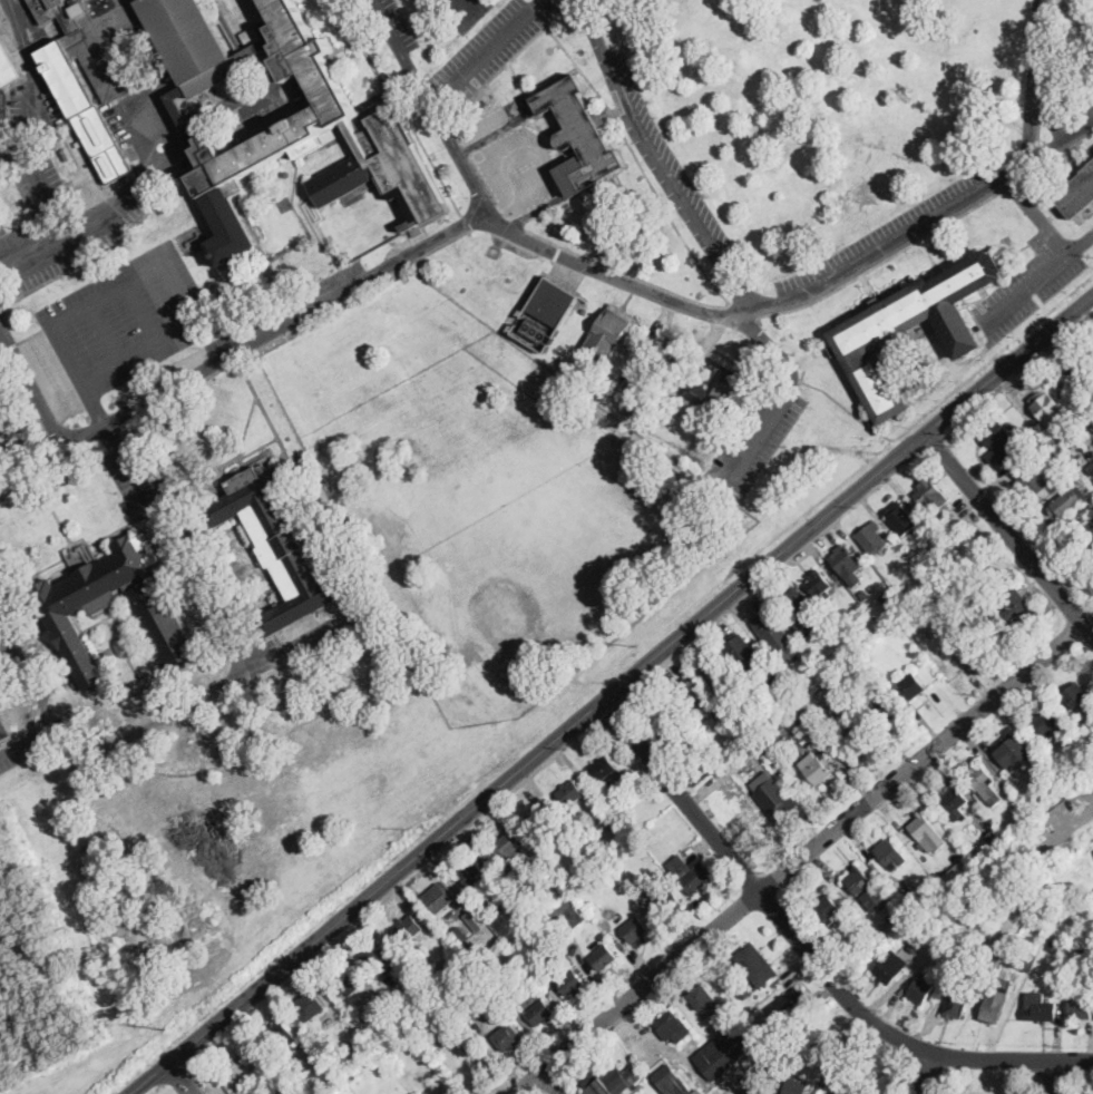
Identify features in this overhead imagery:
road: (569, 1)
road: (449, 9)
parking lot: (458, 11)
parking lot: (393, 25)
parking lot: (491, 46)
road: (485, 51)
road: (506, 64)
building: (6, 67)
building: (91, 70)
road: (35, 84)
road: (1034, 89)
road: (236, 104)
parking lot: (33, 106)
road: (175, 119)
parking lot: (490, 119)
building: (283, 120)
parking lot: (1073, 124)
road: (494, 131)
building: (578, 136)
road: (180, 137)
parking lot: (662, 155)
road: (658, 158)
road: (640, 163)
parking lot: (515, 169)
parking lot: (39, 186)
road: (42, 186)
building: (1076, 194)
road: (111, 203)
road: (531, 212)
road: (1035, 214)
building: (194, 241)
parking lot: (880, 241)
road: (1079, 241)
road: (878, 263)
road: (627, 272)
parking lot: (1027, 283)
road: (176, 284)
road: (1022, 289)
building: (554, 302)
road: (683, 305)
parking lot: (284, 307)
road: (144, 309)
parking lot: (125, 319)
building: (905, 328)
building: (536, 330)
road: (105, 331)
building: (609, 331)
road: (242, 346)
road: (770, 348)
building: (1082, 373)
road: (80, 374)
road: (662, 384)
road: (31, 388)
building: (715, 391)
park: (470, 393)
park: (371, 397)
park: (432, 406)
building: (1047, 409)
building: (1085, 416)
building: (1029, 433)
road: (115, 434)
road: (753, 434)
parking lot: (755, 436)
building: (999, 438)
power tower: (869, 450)
building: (1047, 452)
building: (1084, 459)
building: (1090, 466)
building: (1032, 481)
park: (488, 494)
building: (931, 497)
parking lot: (153, 500)
building: (1068, 501)
building: (900, 518)
building: (1091, 526)
road: (1009, 533)
building: (979, 535)
building: (872, 538)
park: (521, 544)
building: (280, 546)
building: (949, 557)
building: (845, 561)
building: (820, 586)
building: (863, 594)
parking lot: (3, 595)
road: (207, 595)
building: (894, 604)
building: (1016, 606)
building: (351, 608)
building: (927, 609)
building: (800, 611)
building: (157, 612)
building: (773, 632)
parking lot: (299, 644)
power tower: (638, 644)
building: (121, 647)
building: (848, 649)
building: (972, 652)
building: (743, 655)
building: (835, 661)
building: (851, 673)
building: (719, 675)
building: (911, 685)
road: (608, 693)
building: (690, 693)
building: (1075, 695)
building: (878, 702)
building: (660, 713)
building: (720, 716)
building: (886, 716)
building: (1046, 722)
building: (811, 723)
building: (742, 725)
building: (3, 729)
road: (25, 740)
building: (1, 743)
road: (104, 746)
building: (1011, 751)
parking lot: (16, 752)
building: (742, 761)
building: (709, 762)
building: (603, 768)
building: (818, 769)
building: (1067, 771)
building: (984, 784)
building: (611, 788)
building: (570, 793)
building: (1081, 795)
building: (955, 803)
building: (780, 805)
building: (1027, 813)
building: (539, 821)
power tower: (407, 827)
building: (1014, 829)
building: (927, 833)
building: (996, 840)
building: (505, 848)
building: (891, 853)
road: (801, 860)
building: (939, 860)
building: (677, 865)
building: (880, 867)
building: (470, 871)
building: (955, 871)
building: (697, 876)
building: (860, 881)
building: (655, 887)
building: (556, 891)
building: (909, 893)
building: (438, 898)
building: (670, 905)
building: (918, 905)
building: (826, 908)
building: (1065, 908)
building: (568, 914)
building: (478, 921)
building: (536, 926)
building: (409, 928)
building: (635, 930)
building: (460, 934)
building: (915, 946)
building: (485, 947)
building: (1055, 947)
building: (1085, 947)
road: (807, 950)
building: (379, 953)
building: (604, 958)
building: (1025, 960)
building: (755, 965)
building: (890, 966)
building: (725, 976)
building: (742, 981)
building: (345, 983)
building: (572, 984)
building: (967, 984)
building: (502, 988)
building: (920, 989)
building: (744, 992)
building: (701, 997)
building: (382, 1002)
building: (791, 1003)
building: (956, 1004)
building: (994, 1004)
building: (309, 1006)
building: (1038, 1007)
building: (1080, 1008)
building: (540, 1013)
power tower: (166, 1026)
building: (673, 1027)
building: (281, 1034)
building: (506, 1036)
building: (724, 1051)
building: (799, 1054)
road: (928, 1073)
building: (835, 1074)
road: (1056, 1076)
road: (182, 1077)
building: (611, 1081)
building: (671, 1081)
road: (553, 1082)
building: (824, 1082)
building: (797, 1085)
building: (755, 1090)
building: (835, 1093)

